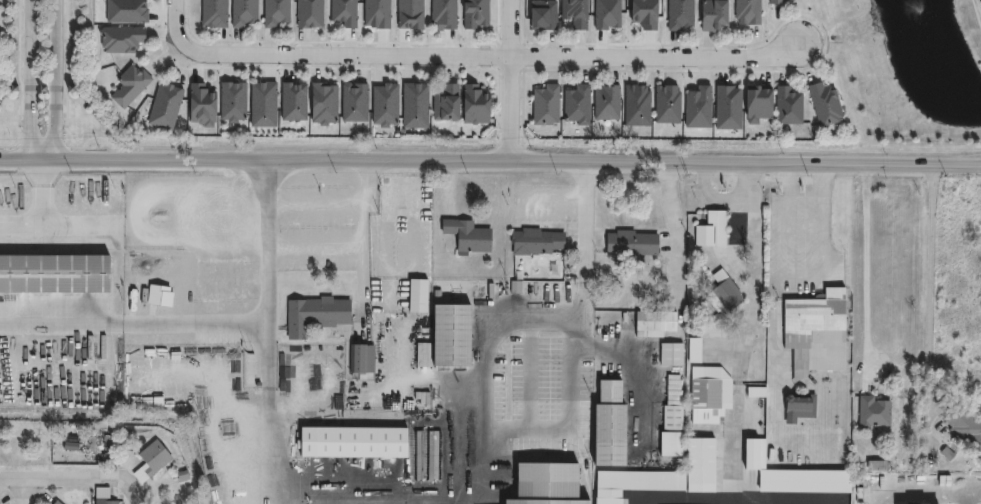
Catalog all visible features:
building: (776, 2)
building: (126, 11)
building: (575, 11)
building: (275, 12)
building: (344, 12)
building: (474, 12)
building: (746, 12)
building: (213, 13)
building: (243, 13)
building: (442, 13)
building: (542, 13)
building: (674, 13)
building: (309, 14)
building: (379, 14)
building: (412, 14)
building: (608, 14)
building: (647, 14)
building: (710, 15)
road: (175, 24)
building: (120, 39)
road: (346, 42)
road: (826, 43)
road: (494, 56)
road: (325, 68)
park: (906, 72)
road: (28, 77)
road: (59, 77)
road: (511, 81)
building: (128, 85)
building: (232, 101)
building: (293, 101)
building: (606, 101)
building: (354, 102)
building: (786, 102)
building: (323, 103)
building: (446, 103)
building: (544, 103)
building: (576, 103)
building: (201, 104)
building: (263, 104)
building: (385, 104)
building: (415, 104)
building: (636, 104)
building: (757, 104)
building: (164, 106)
building: (668, 106)
building: (727, 106)
building: (823, 106)
building: (478, 107)
building: (698, 107)
road: (490, 162)
road: (42, 191)
road: (312, 207)
road: (207, 225)
building: (712, 226)
road: (95, 227)
road: (358, 227)
road: (21, 229)
building: (466, 233)
road: (583, 238)
building: (535, 239)
building: (630, 239)
road: (313, 252)
road: (863, 269)
building: (53, 270)
road: (805, 274)
road: (755, 275)
building: (721, 289)
building: (158, 292)
building: (414, 292)
road: (931, 301)
building: (313, 312)
building: (653, 320)
road: (133, 323)
building: (816, 331)
road: (267, 332)
building: (447, 334)
building: (693, 347)
building: (669, 351)
building: (359, 355)
road: (634, 372)
road: (483, 375)
building: (293, 376)
building: (761, 392)
building: (709, 393)
building: (798, 404)
building: (873, 410)
road: (569, 413)
building: (607, 425)
building: (670, 426)
building: (965, 427)
building: (61, 428)
building: (110, 438)
building: (350, 441)
road: (736, 443)
building: (752, 451)
building: (152, 456)
building: (658, 475)
road: (76, 477)
building: (802, 479)
building: (542, 483)
road: (14, 490)
road: (929, 496)
building: (104, 501)
building: (53, 502)
road: (363, 502)

